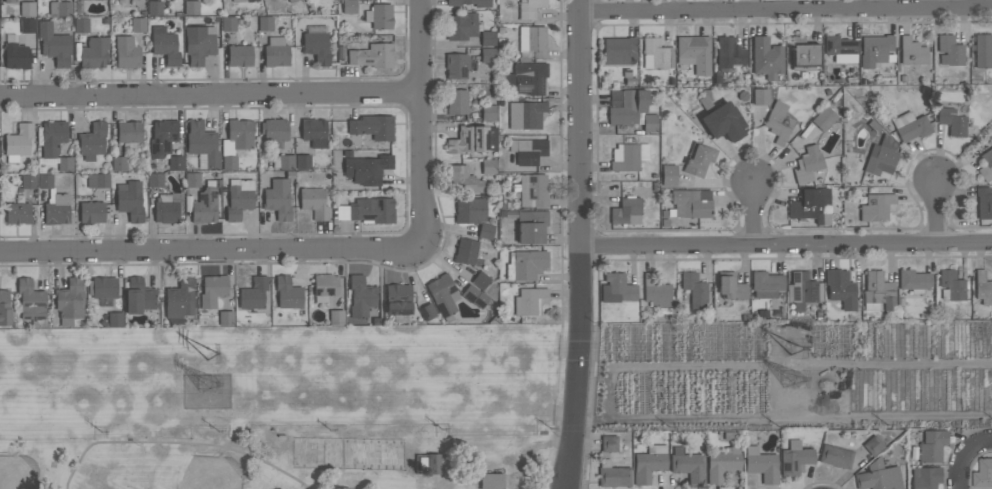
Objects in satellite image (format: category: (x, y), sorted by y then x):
building: (243, 0)
building: (9, 1)
building: (291, 1)
building: (454, 4)
building: (349, 6)
building: (154, 7)
building: (191, 7)
road: (786, 7)
building: (27, 8)
building: (60, 8)
building: (529, 8)
building: (379, 16)
building: (265, 23)
building: (138, 24)
building: (228, 24)
building: (28, 25)
building: (81, 25)
building: (461, 25)
building: (488, 38)
building: (533, 40)
building: (199, 43)
building: (316, 43)
building: (54, 44)
building: (165, 45)
building: (840, 49)
building: (619, 50)
building: (875, 50)
building: (983, 50)
building: (276, 51)
building: (912, 51)
building: (949, 51)
building: (93, 52)
building: (126, 52)
building: (16, 53)
building: (694, 53)
building: (804, 53)
building: (656, 54)
building: (729, 54)
building: (239, 55)
building: (372, 55)
building: (766, 57)
building: (488, 58)
building: (456, 65)
building: (717, 77)
road: (238, 78)
building: (526, 78)
road: (211, 92)
building: (761, 96)
building: (456, 102)
building: (627, 106)
building: (488, 112)
building: (526, 114)
building: (824, 118)
building: (952, 121)
road: (421, 122)
building: (724, 122)
building: (778, 122)
building: (650, 123)
building: (372, 126)
building: (911, 126)
building: (991, 129)
building: (275, 130)
building: (314, 132)
building: (129, 134)
building: (237, 136)
building: (162, 137)
building: (473, 139)
building: (52, 140)
building: (92, 141)
building: (18, 142)
building: (202, 144)
building: (528, 150)
building: (628, 156)
building: (882, 156)
building: (699, 160)
building: (283, 161)
building: (229, 162)
building: (303, 162)
building: (65, 163)
building: (119, 163)
building: (176, 163)
building: (807, 164)
building: (986, 164)
building: (488, 166)
building: (367, 168)
building: (669, 175)
building: (192, 179)
building: (462, 179)
building: (98, 180)
building: (155, 180)
building: (28, 181)
building: (45, 181)
building: (531, 189)
building: (239, 198)
building: (277, 198)
building: (130, 199)
building: (314, 202)
building: (206, 203)
building: (690, 203)
building: (984, 203)
building: (811, 205)
building: (167, 207)
building: (876, 207)
building: (56, 208)
road: (937, 208)
building: (469, 209)
building: (366, 210)
building: (91, 211)
building: (626, 211)
road: (751, 211)
building: (18, 213)
road: (560, 221)
building: (531, 226)
building: (485, 230)
road: (788, 241)
road: (584, 244)
road: (209, 247)
building: (466, 251)
road: (349, 262)
building: (526, 264)
building: (480, 280)
building: (914, 281)
building: (766, 283)
building: (952, 285)
building: (325, 286)
building: (729, 287)
building: (983, 287)
building: (617, 288)
building: (840, 288)
building: (103, 289)
building: (695, 289)
building: (803, 289)
building: (212, 290)
building: (878, 291)
building: (288, 292)
building: (656, 292)
building: (253, 293)
building: (443, 295)
building: (139, 296)
building: (360, 296)
building: (474, 296)
building: (30, 299)
building: (528, 300)
building: (69, 301)
building: (398, 302)
building: (179, 303)
building: (4, 308)
building: (427, 311)
building: (225, 317)
building: (336, 317)
building: (115, 319)
power tower: (793, 347)
power tower: (211, 352)
crop: (793, 376)
power tower: (794, 376)
power tower: (207, 383)
park: (283, 407)
road: (180, 442)
building: (609, 443)
building: (873, 445)
building: (932, 445)
road: (964, 454)
building: (836, 456)
building: (795, 458)
building: (649, 462)
building: (428, 464)
building: (722, 464)
building: (761, 464)
building: (688, 465)
park: (19, 472)
park: (211, 472)
building: (614, 472)
building: (983, 474)
building: (878, 476)
building: (925, 477)
building: (492, 481)

